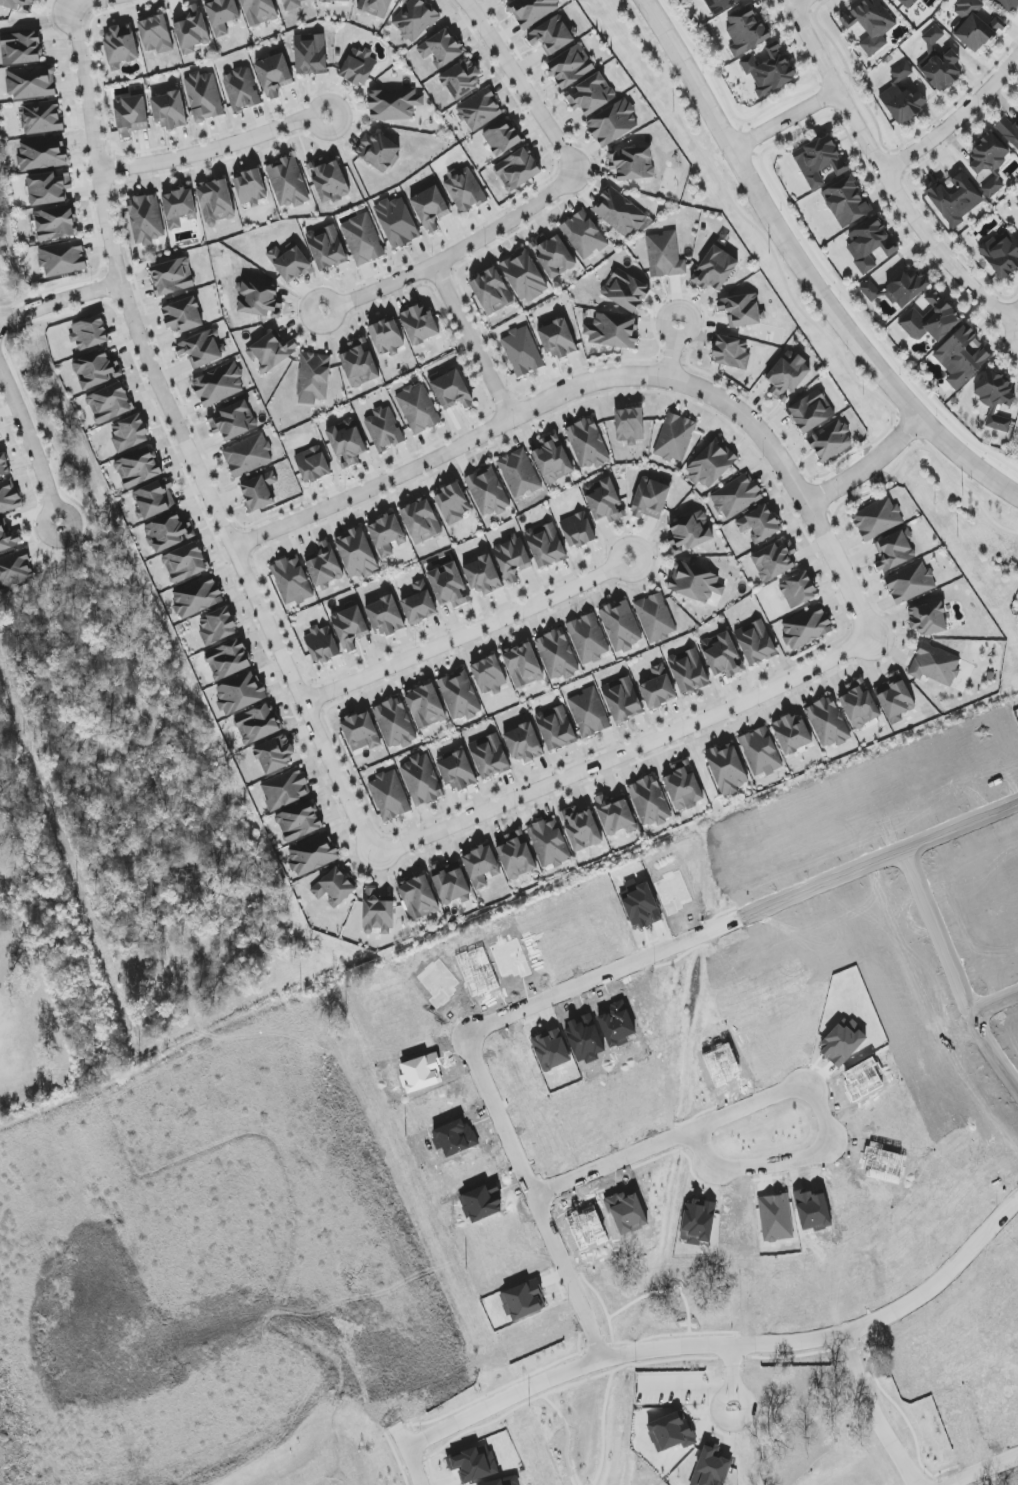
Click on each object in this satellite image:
building: (504, 0)
building: (335, 1)
building: (907, 3)
building: (17, 4)
building: (293, 4)
road: (92, 5)
building: (719, 5)
building: (1007, 5)
road: (803, 6)
building: (375, 7)
building: (259, 11)
building: (532, 11)
building: (222, 15)
building: (414, 20)
building: (868, 25)
building: (974, 25)
building: (191, 30)
building: (746, 31)
building: (156, 35)
building: (551, 35)
building: (120, 46)
building: (20, 48)
building: (441, 49)
building: (310, 54)
building: (940, 63)
building: (571, 66)
building: (359, 67)
building: (769, 70)
building: (274, 75)
road: (689, 76)
building: (461, 79)
road: (519, 79)
building: (30, 83)
building: (241, 89)
building: (590, 95)
building: (204, 96)
building: (902, 97)
building: (394, 104)
building: (169, 110)
building: (479, 110)
building: (130, 114)
building: (42, 117)
road: (952, 121)
building: (613, 123)
road: (786, 124)
building: (1008, 133)
building: (501, 138)
road: (215, 149)
building: (379, 151)
building: (41, 154)
building: (818, 161)
building: (989, 161)
building: (632, 164)
building: (517, 170)
road: (882, 175)
building: (329, 181)
building: (288, 182)
building: (48, 188)
building: (250, 188)
building: (465, 191)
building: (955, 198)
building: (215, 202)
building: (846, 202)
building: (179, 208)
building: (430, 208)
building: (619, 213)
building: (146, 219)
building: (397, 222)
road: (750, 223)
building: (55, 224)
building: (584, 235)
building: (363, 240)
building: (869, 244)
building: (326, 247)
road: (459, 250)
road: (814, 255)
building: (1001, 255)
building: (554, 256)
building: (665, 256)
building: (62, 259)
building: (290, 263)
building: (714, 270)
building: (524, 276)
building: (172, 277)
building: (899, 289)
building: (491, 291)
building: (625, 291)
building: (259, 300)
road: (59, 301)
building: (741, 310)
building: (183, 315)
building: (931, 320)
building: (419, 325)
building: (612, 331)
road: (1015, 331)
building: (89, 333)
building: (387, 337)
road: (475, 339)
building: (557, 339)
road: (857, 341)
building: (200, 350)
road: (672, 351)
building: (271, 352)
building: (522, 352)
building: (732, 353)
building: (962, 357)
building: (359, 364)
building: (96, 370)
road: (1, 377)
building: (313, 378)
road: (602, 379)
building: (219, 385)
building: (451, 390)
building: (996, 398)
building: (109, 403)
building: (418, 409)
road: (7, 410)
building: (811, 412)
building: (234, 421)
building: (629, 425)
building: (384, 429)
building: (129, 433)
building: (675, 438)
building: (347, 441)
building: (831, 441)
road: (186, 443)
building: (587, 444)
road: (29, 446)
building: (248, 456)
building: (553, 459)
road: (24, 461)
building: (313, 464)
building: (712, 464)
road: (867, 465)
building: (4, 466)
building: (138, 468)
building: (519, 473)
road: (29, 478)
road: (958, 485)
building: (259, 491)
building: (488, 492)
building: (737, 496)
building: (8, 497)
building: (155, 499)
building: (650, 499)
building: (603, 500)
building: (452, 504)
road: (32, 516)
building: (877, 519)
building: (421, 521)
building: (759, 524)
building: (577, 530)
building: (167, 532)
building: (689, 533)
building: (386, 534)
road: (45, 538)
building: (8, 540)
building: (545, 545)
building: (894, 551)
building: (357, 554)
building: (512, 559)
building: (774, 560)
building: (185, 563)
building: (324, 565)
building: (14, 570)
building: (483, 575)
building: (291, 581)
building: (694, 583)
building: (910, 583)
building: (448, 585)
building: (798, 590)
building: (197, 596)
building: (419, 604)
building: (385, 616)
building: (655, 618)
building: (928, 619)
building: (217, 627)
building: (350, 627)
building: (621, 627)
building: (806, 627)
road: (467, 631)
building: (588, 639)
building: (755, 642)
building: (321, 644)
building: (558, 655)
building: (722, 655)
building: (228, 660)
building: (935, 665)
building: (523, 666)
building: (689, 671)
building: (489, 675)
building: (658, 688)
building: (241, 693)
building: (460, 695)
building: (622, 700)
building: (895, 700)
building: (859, 705)
building: (425, 706)
building: (589, 713)
building: (828, 722)
building: (395, 723)
building: (257, 724)
building: (556, 728)
building: (361, 732)
building: (793, 734)
building: (524, 743)
road: (624, 751)
building: (761, 752)
building: (274, 755)
building: (489, 756)
building: (727, 769)
building: (457, 771)
building: (421, 780)
building: (683, 787)
building: (285, 789)
building: (389, 796)
building: (650, 801)
building: (614, 815)
building: (299, 822)
road: (961, 827)
building: (581, 829)
building: (549, 843)
building: (313, 854)
building: (516, 856)
building: (481, 866)
building: (450, 883)
building: (334, 887)
building: (419, 898)
building: (377, 913)
road: (948, 954)
road: (527, 1009)
building: (551, 1050)
road: (993, 1052)
road: (770, 1098)
road: (940, 1282)
building: (522, 1301)
road: (681, 1347)
road: (734, 1375)
building: (671, 1432)
building: (474, 1464)
building: (711, 1469)
road: (986, 1471)

